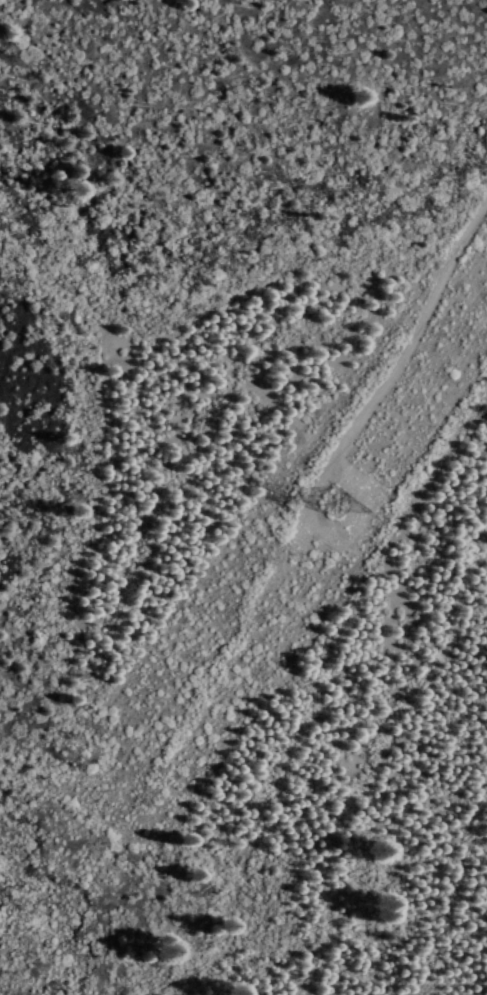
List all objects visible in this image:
power tower: (350, 500)

